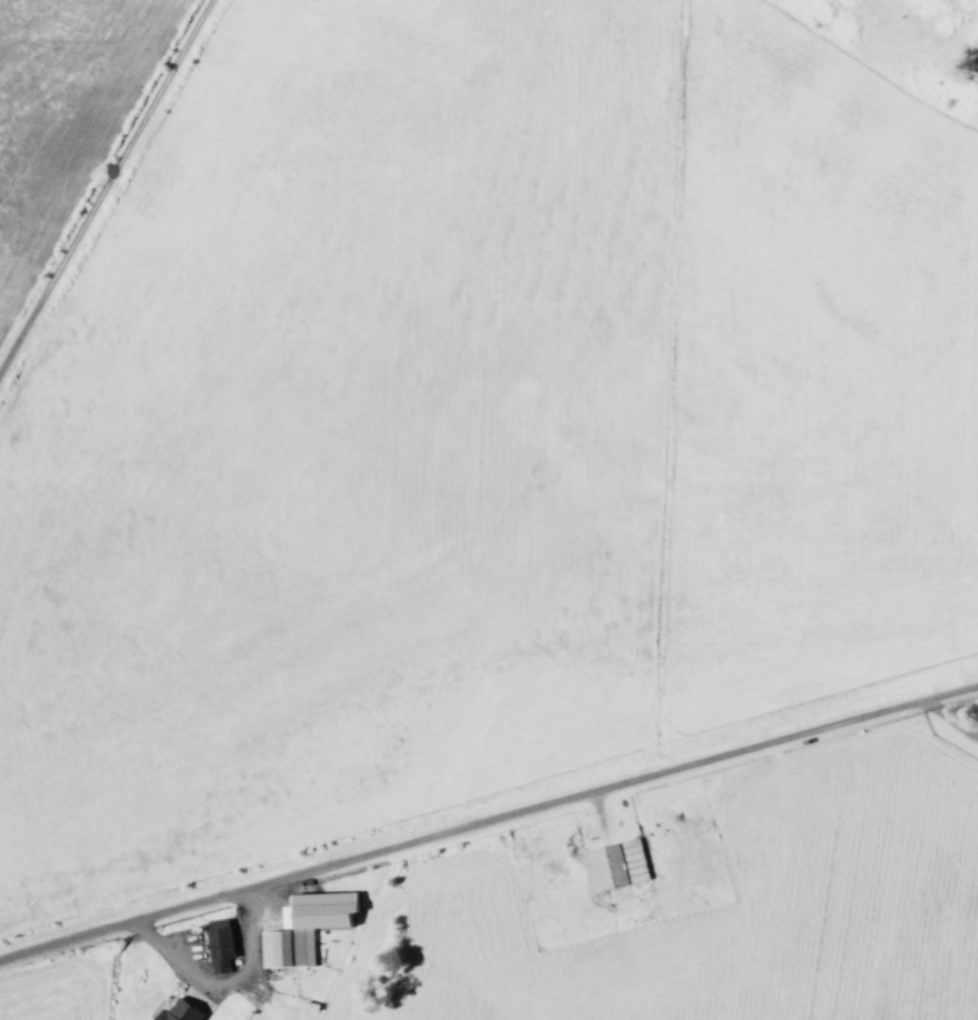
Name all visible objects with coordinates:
road: (104, 183)
road: (947, 718)
road: (598, 815)
road: (488, 818)
building: (616, 865)
building: (308, 927)
building: (221, 944)
road: (210, 982)
building: (182, 1011)

